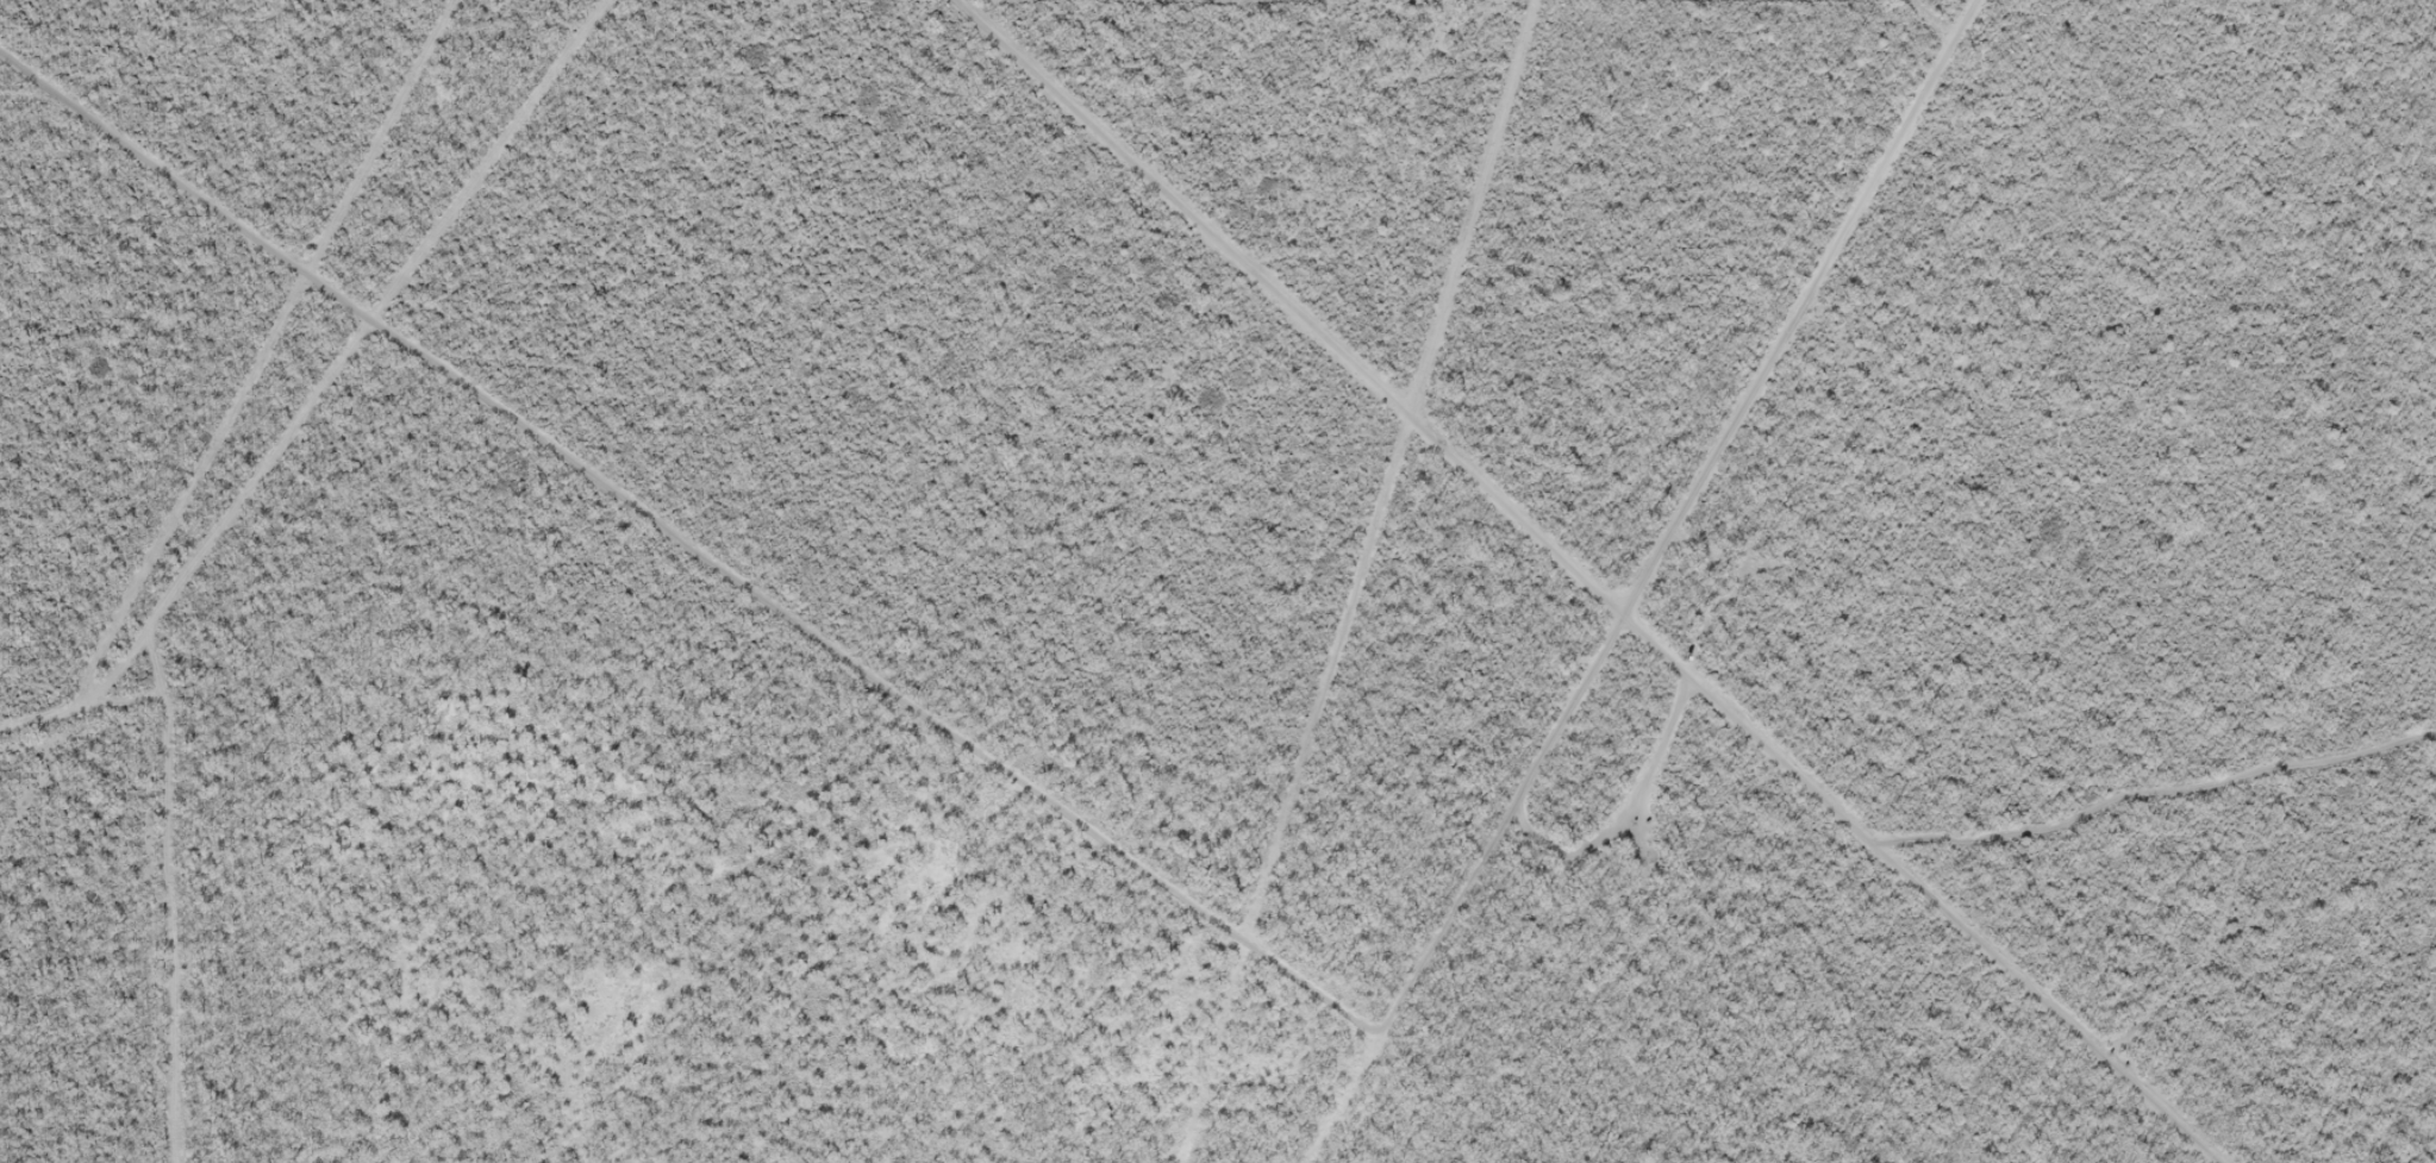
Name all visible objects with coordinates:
road: (1592, 581)

